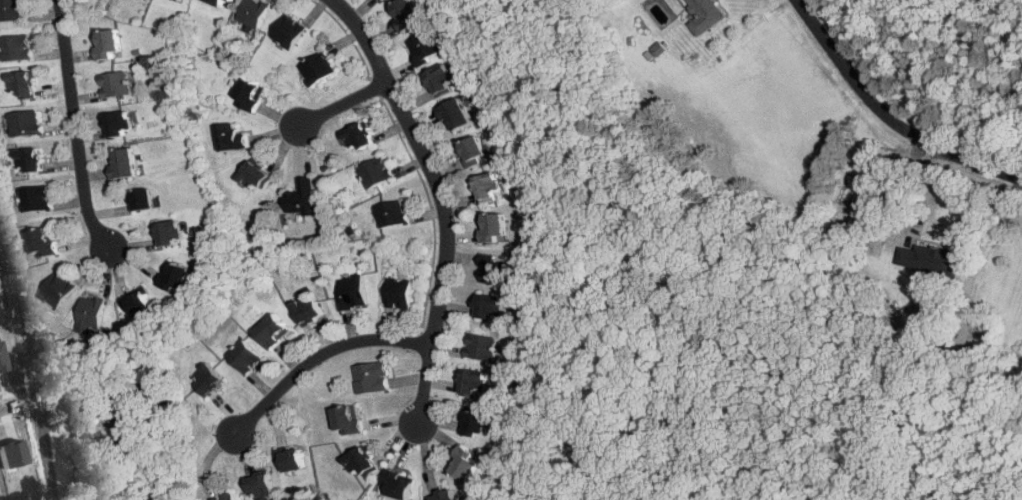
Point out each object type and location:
building: (384, 0)
building: (222, 2)
building: (12, 10)
building: (254, 13)
building: (408, 14)
building: (706, 15)
building: (289, 32)
building: (108, 44)
building: (427, 47)
building: (18, 48)
building: (318, 68)
building: (445, 80)
building: (24, 84)
building: (115, 84)
building: (251, 93)
road: (345, 104)
building: (460, 116)
road: (887, 118)
building: (25, 123)
building: (122, 124)
road: (75, 127)
building: (360, 137)
building: (233, 138)
building: (475, 150)
building: (31, 159)
building: (127, 163)
building: (377, 172)
building: (257, 175)
road: (903, 186)
building: (490, 187)
building: (302, 198)
building: (37, 199)
road: (441, 199)
building: (145, 200)
building: (392, 214)
building: (496, 228)
building: (173, 234)
building: (45, 243)
building: (926, 258)
building: (495, 271)
building: (178, 276)
building: (58, 290)
building: (353, 292)
building: (399, 293)
building: (139, 304)
building: (491, 306)
building: (310, 307)
building: (91, 314)
building: (275, 331)
building: (480, 346)
road: (320, 356)
building: (246, 357)
building: (374, 378)
building: (210, 380)
building: (473, 383)
road: (6, 407)
building: (350, 420)
building: (475, 422)
building: (127, 430)
road: (49, 458)
building: (296, 460)
building: (364, 462)
building: (466, 464)
building: (265, 485)
building: (399, 485)
building: (446, 495)
building: (227, 497)

